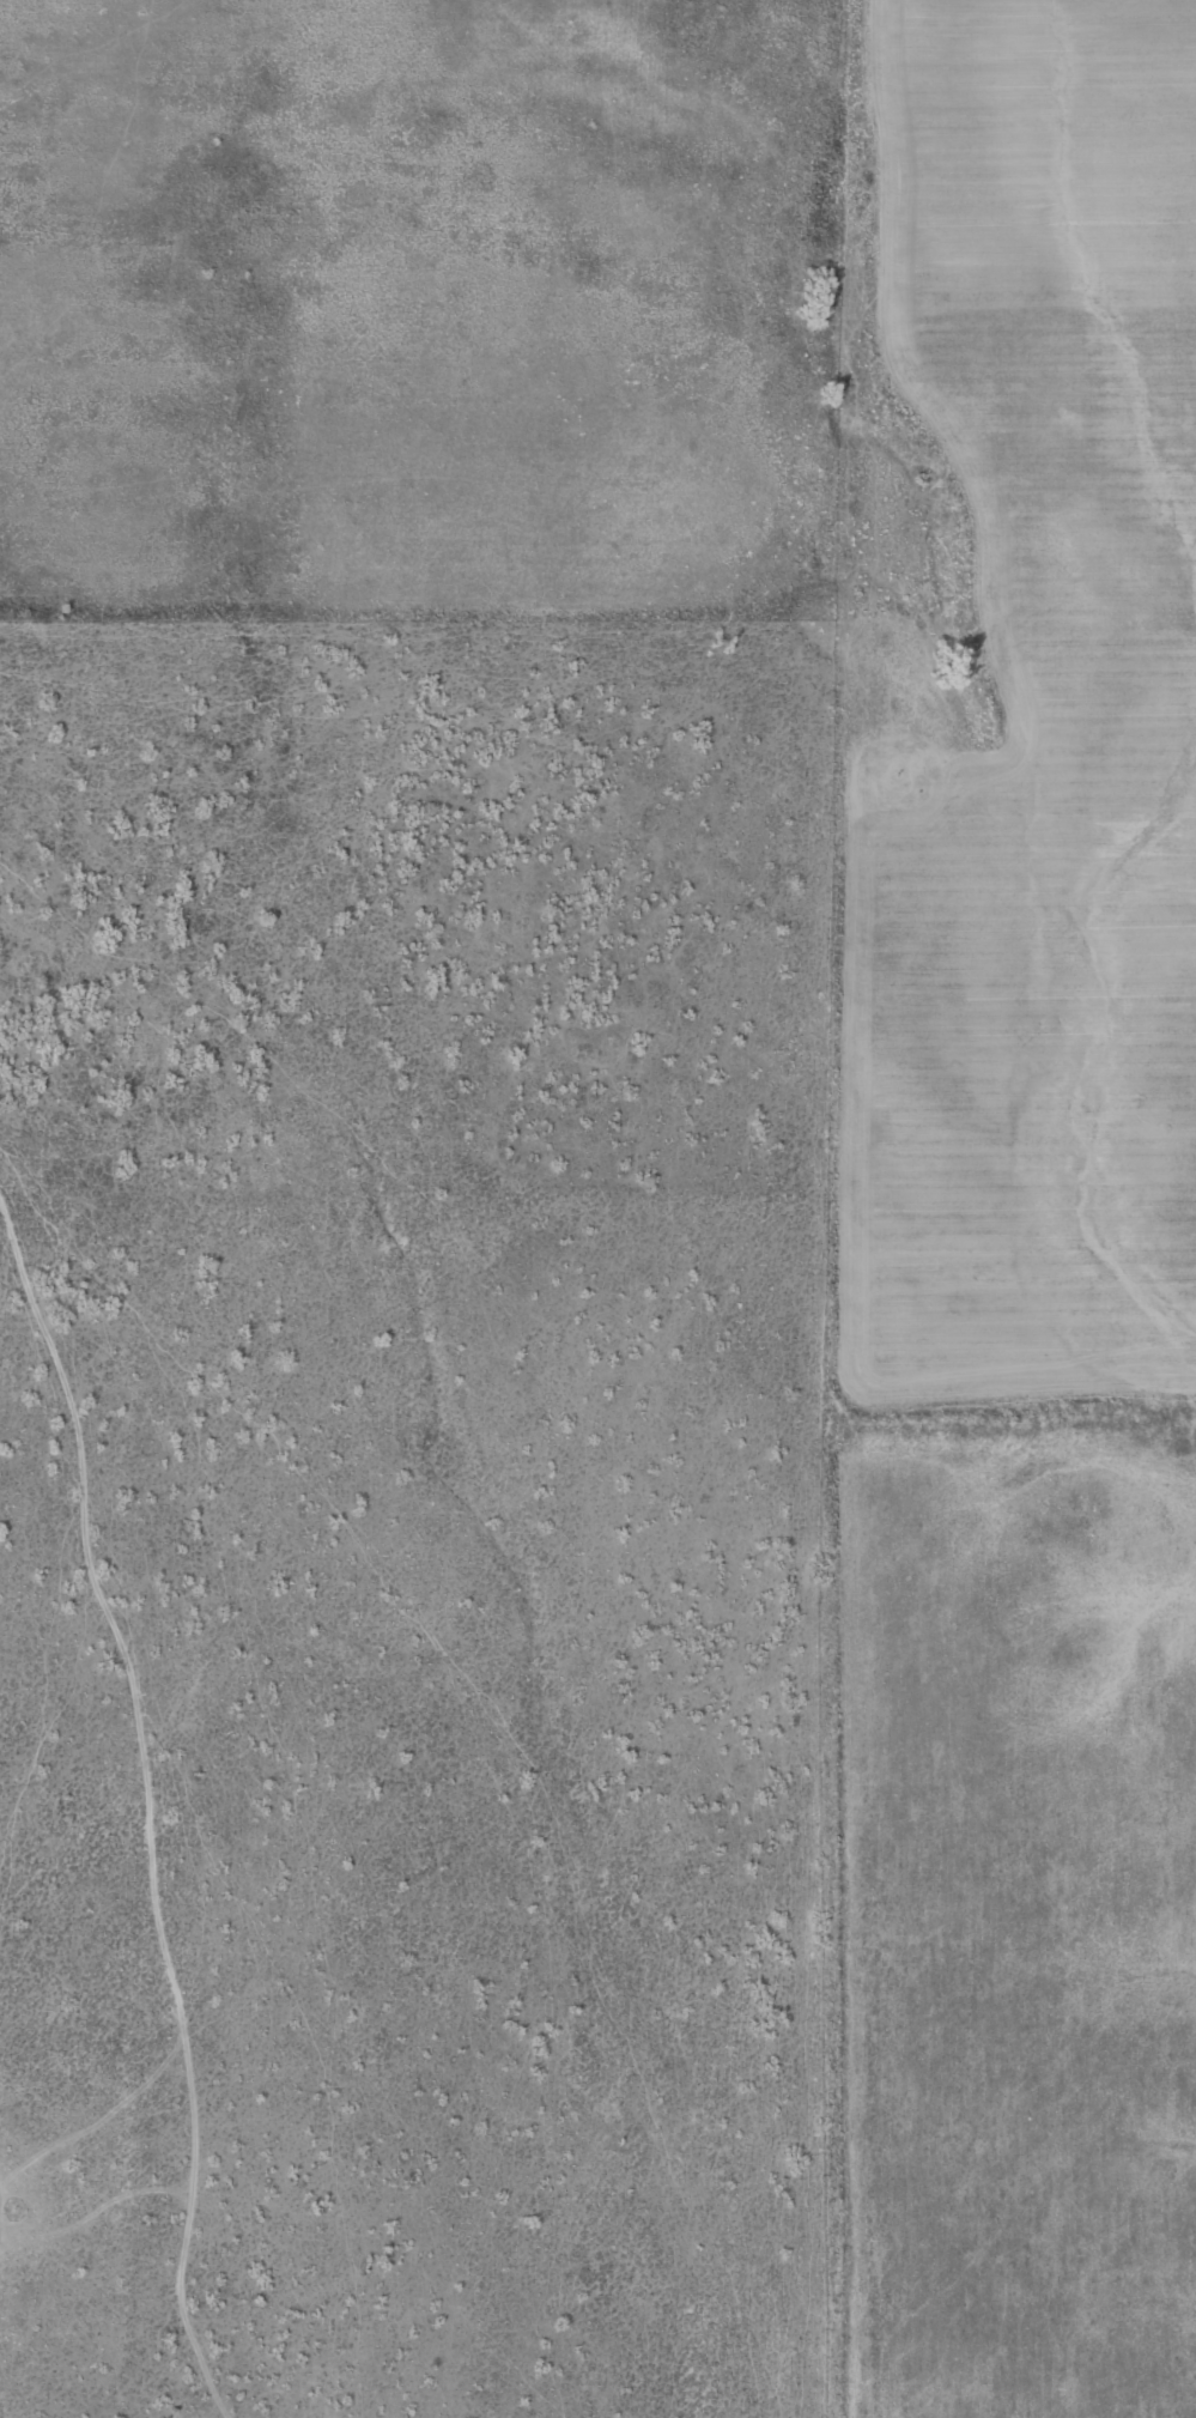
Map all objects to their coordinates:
road: (200, 1772)

